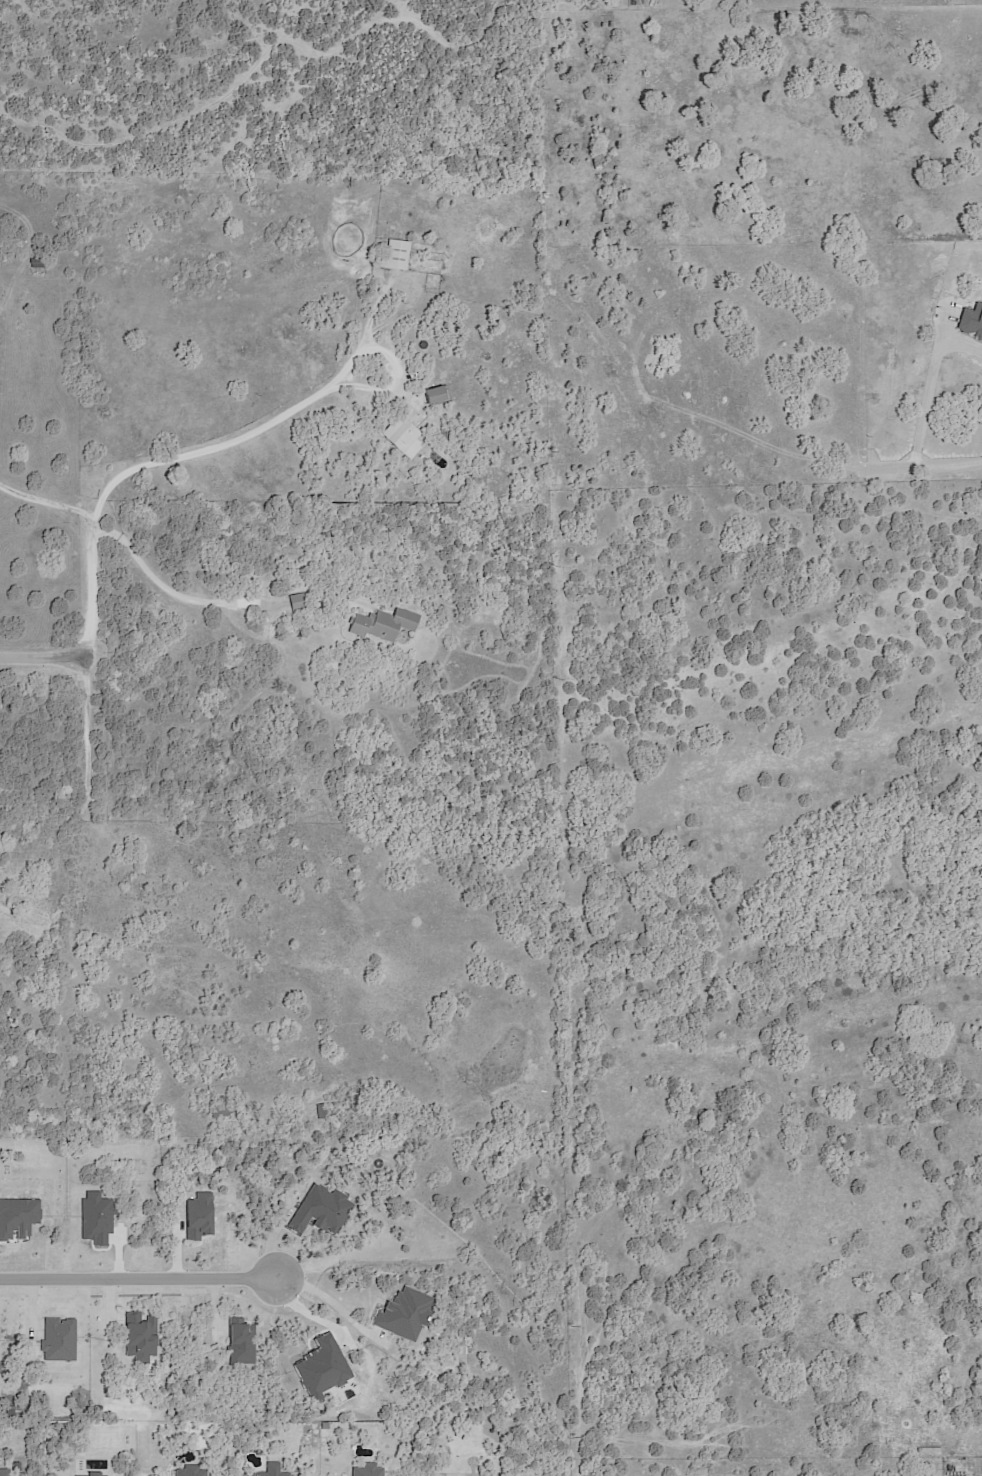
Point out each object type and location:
building: (395, 255)
building: (34, 263)
road: (933, 390)
building: (434, 394)
building: (445, 434)
building: (403, 436)
road: (924, 468)
road: (120, 471)
road: (48, 499)
road: (174, 592)
building: (298, 600)
building: (385, 623)
building: (208, 1064)
building: (222, 1107)
building: (321, 1111)
road: (138, 1276)
road: (329, 1301)
building: (930, 1450)

